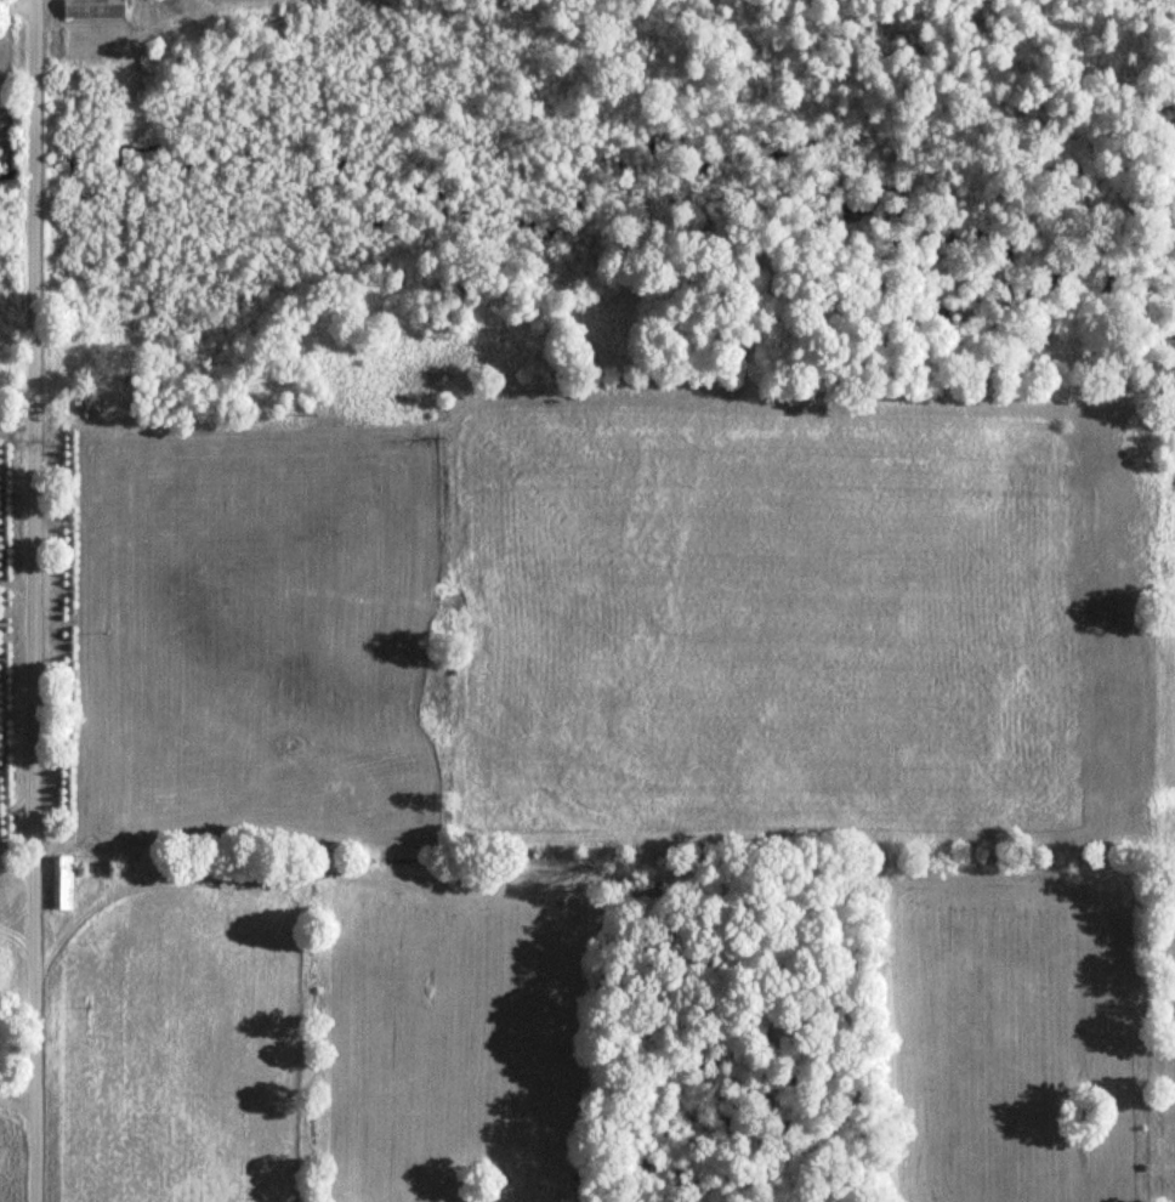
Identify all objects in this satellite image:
building: (96, 8)
road: (36, 601)
building: (64, 883)

